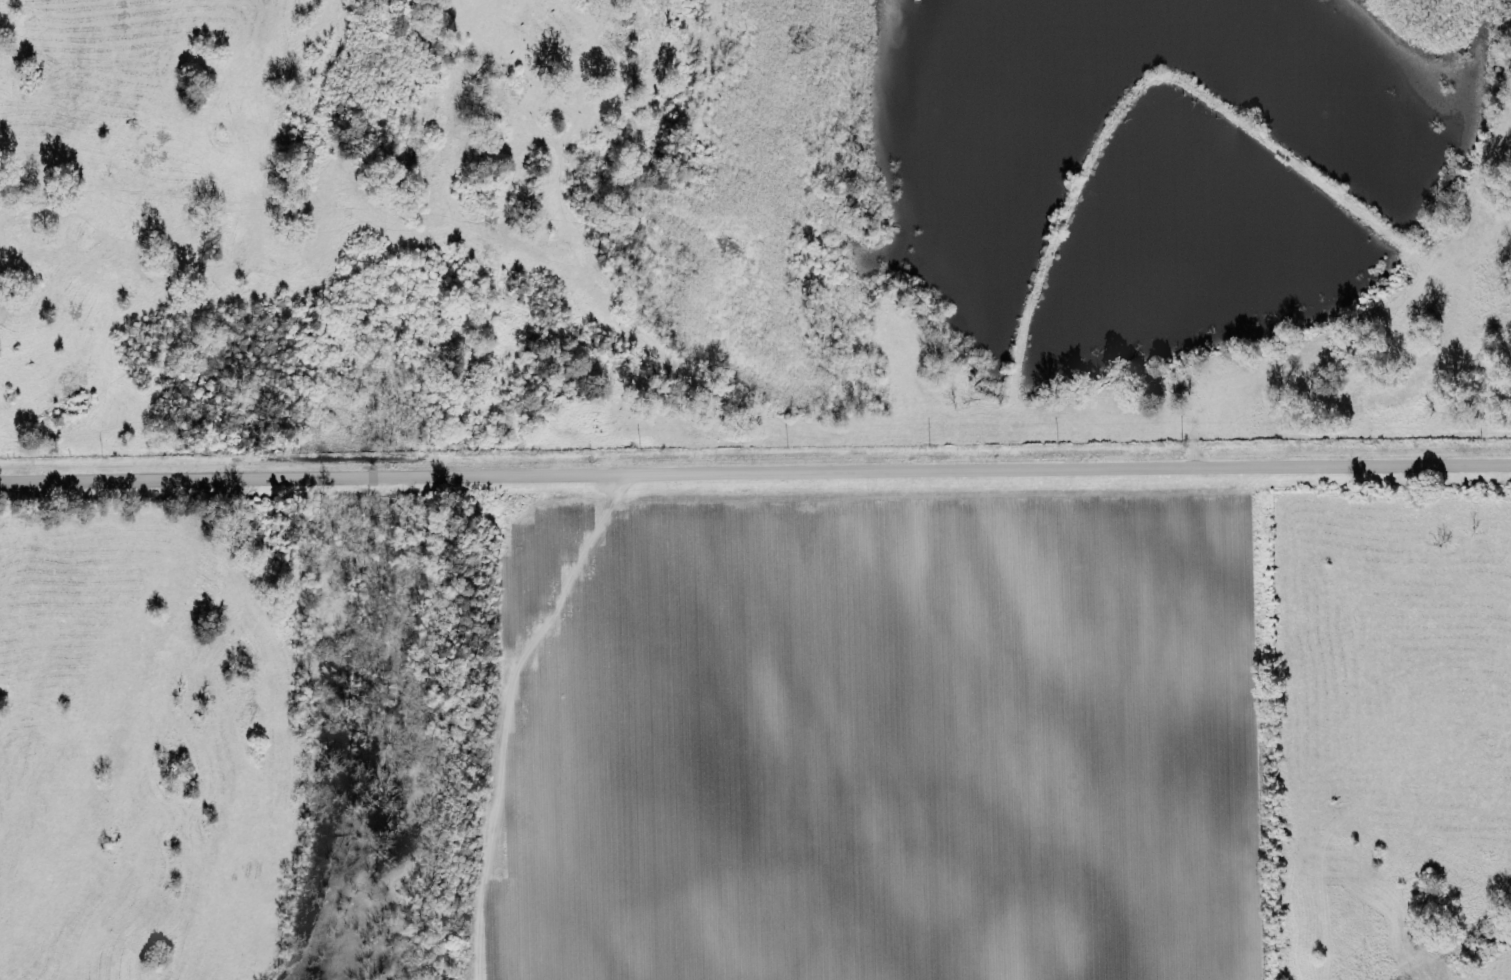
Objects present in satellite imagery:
road: (755, 472)
road: (491, 728)

